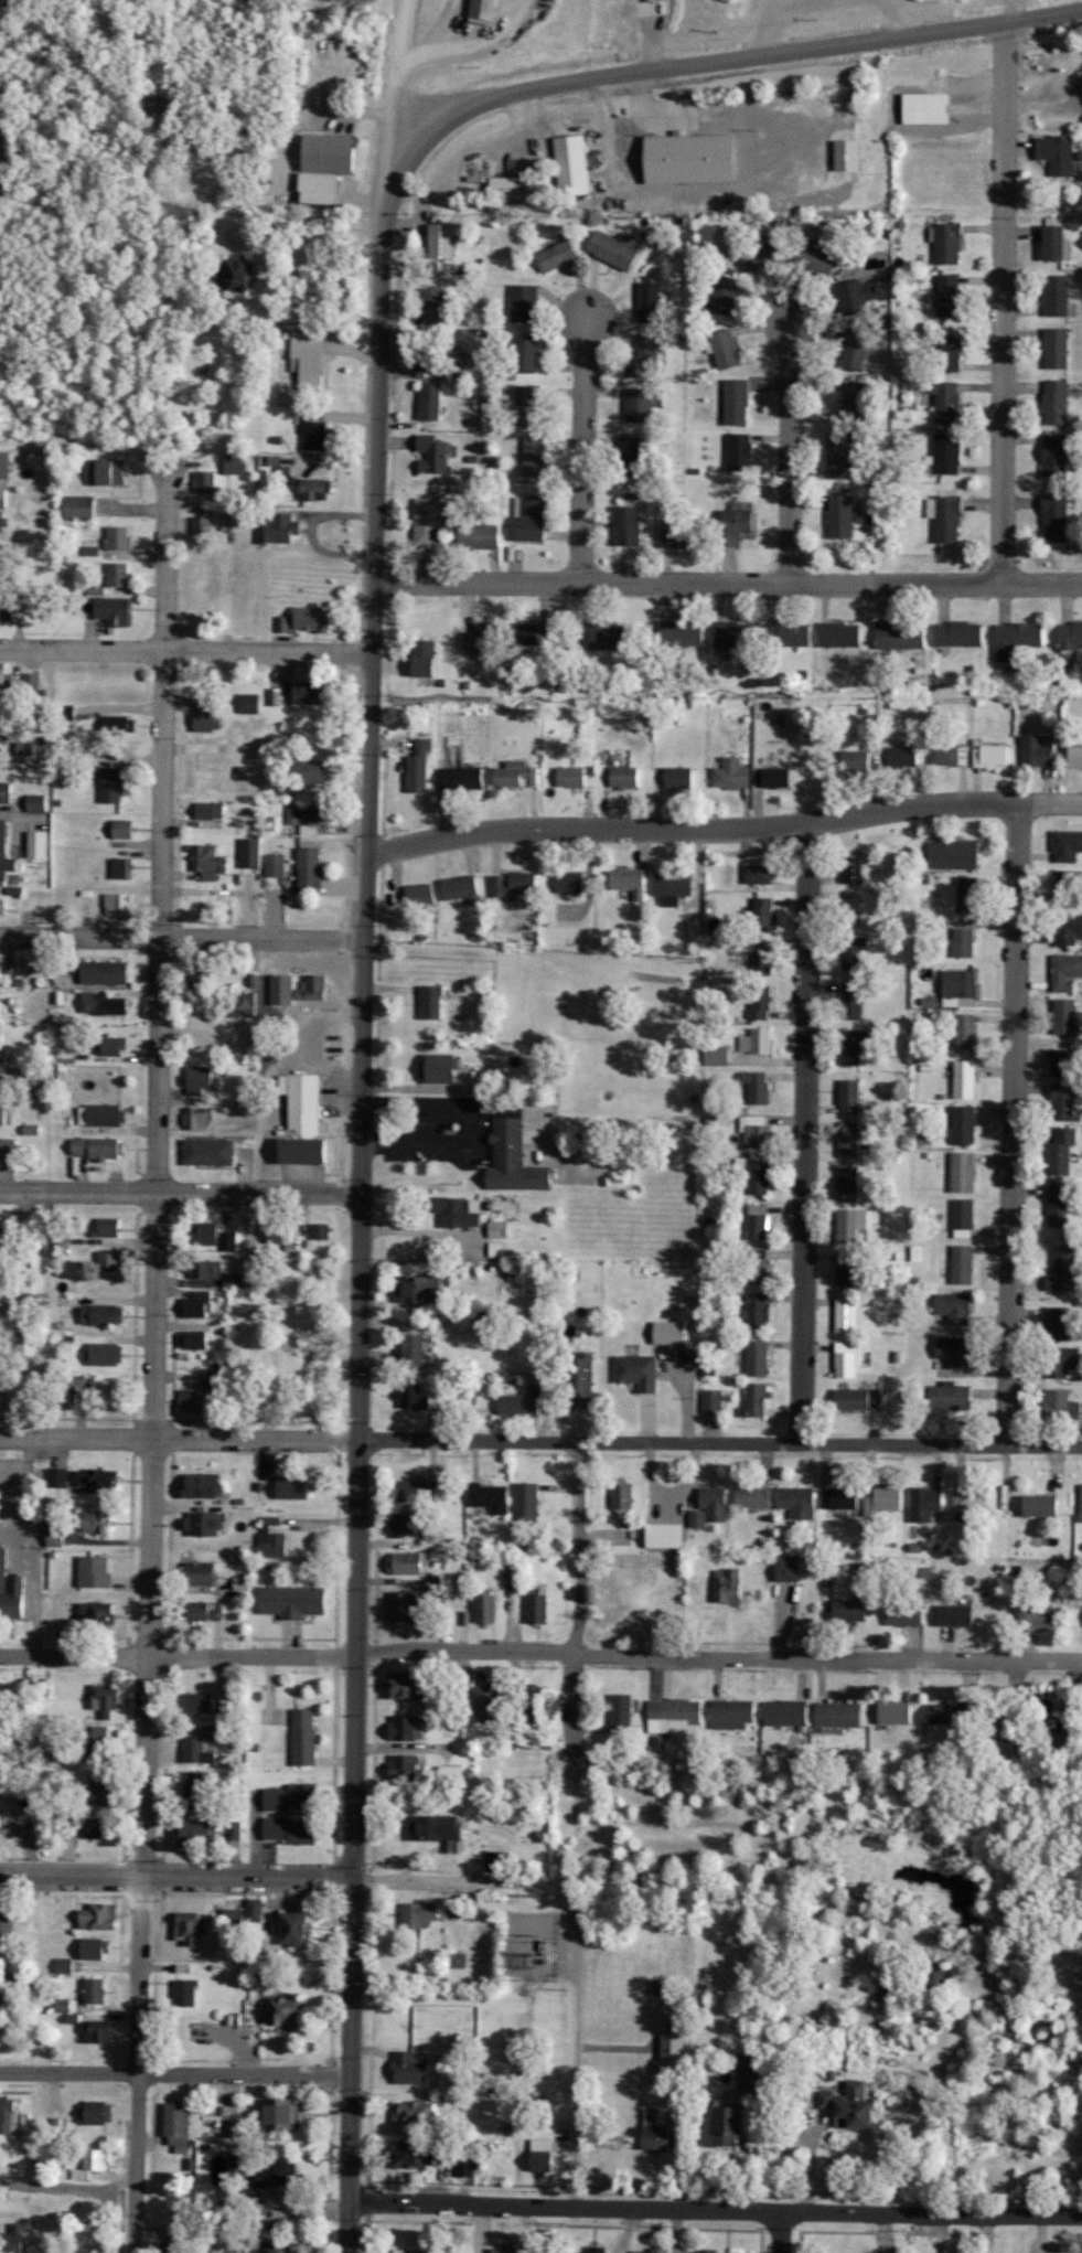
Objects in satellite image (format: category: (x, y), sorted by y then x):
building: (481, 9)
road: (1043, 19)
road: (432, 28)
road: (467, 41)
building: (301, 65)
road: (396, 94)
building: (922, 107)
building: (1051, 152)
building: (844, 154)
building: (684, 158)
building: (567, 164)
building: (318, 165)
building: (495, 185)
building: (436, 241)
building: (1050, 242)
building: (944, 243)
building: (610, 247)
building: (554, 254)
building: (753, 258)
building: (811, 258)
building: (227, 274)
building: (721, 295)
building: (853, 295)
building: (945, 295)
building: (645, 300)
building: (519, 302)
road: (1001, 305)
building: (428, 306)
building: (724, 348)
building: (1051, 348)
building: (851, 350)
building: (944, 352)
building: (522, 353)
building: (643, 353)
building: (304, 356)
building: (941, 397)
building: (426, 401)
building: (856, 401)
building: (732, 402)
building: (1052, 402)
building: (524, 404)
building: (635, 404)
building: (311, 430)
road: (588, 446)
road: (786, 446)
building: (735, 450)
building: (834, 450)
building: (943, 452)
building: (428, 453)
building: (533, 455)
building: (1050, 455)
building: (625, 456)
building: (231, 463)
building: (2, 465)
building: (104, 471)
building: (200, 482)
building: (309, 488)
building: (2, 498)
building: (76, 508)
building: (836, 515)
building: (1050, 516)
building: (942, 517)
building: (523, 519)
building: (3, 521)
building: (422, 521)
building: (203, 525)
building: (622, 525)
building: (730, 525)
building: (274, 526)
building: (472, 535)
building: (678, 536)
building: (114, 537)
building: (114, 574)
road: (730, 583)
building: (8, 607)
building: (108, 609)
building: (299, 619)
building: (523, 632)
building: (677, 632)
building: (784, 633)
building: (834, 633)
building: (953, 633)
building: (599, 636)
building: (893, 636)
building: (1011, 638)
building: (476, 639)
building: (1067, 639)
road: (188, 652)
building: (416, 658)
building: (19, 684)
building: (300, 692)
building: (246, 703)
building: (63, 712)
building: (201, 718)
building: (113, 724)
building: (3, 729)
building: (1032, 750)
building: (901, 755)
building: (946, 755)
building: (989, 756)
building: (1072, 756)
building: (853, 760)
building: (414, 765)
building: (302, 770)
building: (727, 773)
building: (510, 775)
building: (621, 776)
building: (456, 777)
building: (568, 777)
building: (675, 777)
building: (107, 784)
building: (7, 791)
building: (39, 801)
building: (204, 810)
building: (303, 812)
building: (274, 823)
building: (119, 829)
road: (726, 831)
building: (40, 843)
building: (1063, 845)
building: (6, 851)
building: (247, 852)
building: (949, 854)
building: (203, 862)
building: (271, 865)
building: (848, 866)
building: (118, 867)
building: (306, 867)
building: (754, 874)
building: (565, 882)
building: (626, 882)
building: (510, 883)
building: (457, 887)
building: (669, 887)
building: (963, 888)
road: (368, 891)
building: (417, 894)
building: (120, 903)
building: (1, 905)
building: (848, 914)
building: (758, 915)
building: (693, 928)
building: (1064, 928)
road: (183, 940)
building: (960, 942)
building: (850, 950)
building: (758, 962)
building: (1063, 971)
building: (1, 972)
building: (107, 972)
building: (192, 974)
building: (955, 983)
building: (300, 993)
building: (246, 1000)
building: (433, 1001)
building: (757, 1002)
building: (104, 1003)
building: (847, 1003)
building: (1059, 1016)
building: (963, 1031)
building: (0, 1036)
building: (752, 1040)
building: (116, 1046)
building: (845, 1051)
building: (713, 1055)
building: (1056, 1058)
building: (4, 1068)
building: (441, 1068)
building: (199, 1079)
building: (962, 1079)
building: (753, 1086)
building: (846, 1097)
building: (304, 1101)
building: (1058, 1101)
building: (3, 1114)
building: (103, 1114)
building: (199, 1117)
building: (960, 1124)
road: (1009, 1125)
road: (469, 1128)
building: (753, 1130)
road: (807, 1135)
building: (844, 1139)
building: (99, 1146)
building: (9, 1147)
building: (307, 1150)
building: (210, 1151)
building: (1058, 1151)
building: (515, 1158)
building: (961, 1171)
building: (756, 1176)
building: (843, 1179)
road: (180, 1198)
building: (1056, 1204)
building: (961, 1213)
building: (754, 1221)
building: (847, 1225)
building: (111, 1227)
building: (504, 1228)
building: (323, 1230)
building: (0, 1231)
building: (278, 1231)
building: (208, 1232)
building: (228, 1240)
building: (61, 1242)
building: (496, 1249)
building: (110, 1260)
building: (960, 1263)
building: (753, 1266)
building: (207, 1269)
building: (1058, 1270)
building: (843, 1274)
building: (6, 1288)
building: (421, 1288)
building: (0, 1304)
building: (196, 1304)
building: (950, 1307)
building: (752, 1310)
building: (105, 1313)
building: (843, 1314)
building: (1051, 1323)
building: (673, 1332)
building: (0, 1339)
building: (194, 1339)
building: (26, 1346)
building: (949, 1350)
building: (109, 1354)
building: (752, 1357)
road: (154, 1358)
building: (845, 1358)
building: (1057, 1360)
building: (640, 1370)
building: (218, 1378)
building: (77, 1380)
building: (581, 1387)
building: (415, 1396)
building: (946, 1396)
building: (853, 1398)
building: (751, 1399)
building: (714, 1400)
building: (195, 1401)
building: (524, 1403)
building: (1056, 1405)
road: (180, 1439)
road: (720, 1445)
building: (58, 1476)
building: (101, 1480)
building: (206, 1485)
building: (296, 1487)
building: (418, 1489)
building: (622, 1494)
building: (492, 1497)
building: (754, 1497)
building: (842, 1497)
building: (527, 1501)
building: (886, 1501)
building: (972, 1501)
building: (800, 1502)
building: (1079, 1503)
building: (923, 1504)
building: (1035, 1506)
building: (711, 1507)
building: (98, 1521)
building: (207, 1524)
building: (413, 1525)
building: (668, 1535)
building: (57, 1537)
building: (274, 1539)
building: (409, 1562)
building: (790, 1569)
building: (97, 1571)
building: (204, 1572)
building: (513, 1572)
building: (729, 1584)
building: (11, 1588)
road: (580, 1599)
building: (294, 1600)
building: (413, 1605)
building: (539, 1608)
building: (486, 1609)
building: (908, 1609)
building: (853, 1610)
building: (205, 1611)
building: (99, 1613)
building: (960, 1615)
building: (1039, 1616)
road: (176, 1655)
road: (718, 1661)
building: (410, 1685)
building: (535, 1690)
building: (106, 1698)
building: (489, 1700)
building: (788, 1712)
building: (898, 1712)
building: (732, 1713)
building: (951, 1713)
building: (622, 1715)
building: (674, 1715)
building: (839, 1715)
building: (408, 1727)
building: (306, 1737)
building: (197, 1751)
building: (408, 1766)
building: (452, 1774)
building: (101, 1784)
building: (200, 1790)
building: (292, 1796)
building: (0, 1822)
building: (100, 1828)
building: (442, 1828)
building: (235, 1829)
building: (292, 1830)
building: (197, 1832)
building: (494, 1861)
road: (174, 1875)
building: (256, 1910)
building: (422, 1913)
building: (100, 1916)
building: (233, 1919)
building: (7, 1925)
building: (192, 1928)
building: (301, 1929)
building: (96, 1948)
building: (456, 1961)
building: (65, 1965)
building: (938, 1978)
building: (96, 1990)
building: (186, 1992)
building: (891, 1992)
building: (66, 2005)
building: (287, 2009)
building: (98, 2031)
building: (674, 2051)
building: (411, 2068)
road: (171, 2070)
building: (751, 2071)
road: (578, 2080)
building: (861, 2088)
building: (682, 2096)
building: (831, 2100)
building: (415, 2111)
building: (95, 2112)
building: (863, 2112)
building: (286, 2113)
building: (9, 2114)
building: (736, 2124)
building: (178, 2125)
building: (58, 2126)
building: (501, 2126)
building: (231, 2127)
building: (662, 2133)
building: (414, 2154)
building: (543, 2154)
building: (92, 2163)
building: (464, 2167)
building: (279, 2170)
building: (226, 2176)
road: (713, 2209)
road: (778, 2232)
building: (280, 2246)
building: (170, 2249)
building: (506, 2249)
building: (657, 2250)
building: (416, 2251)
building: (597, 2251)
building: (888, 2252)

